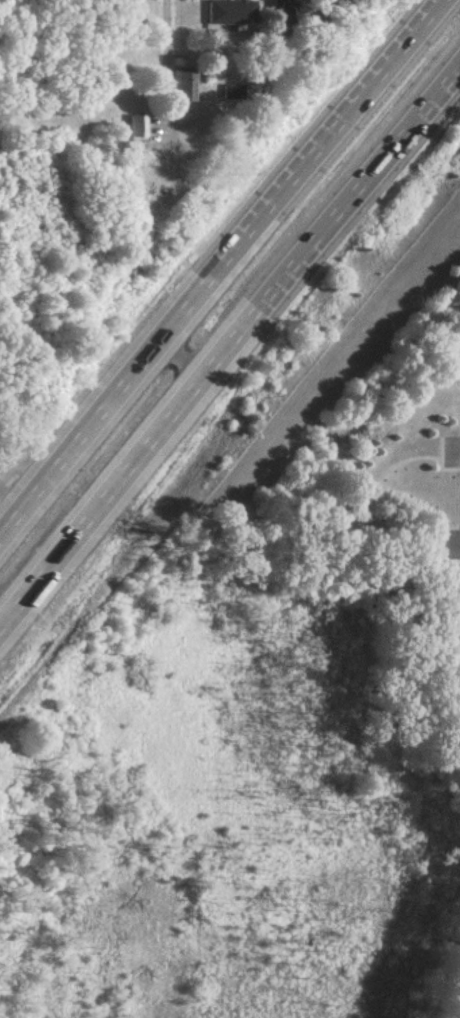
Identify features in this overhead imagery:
building: (230, 11)
road: (168, 38)
building: (182, 83)
building: (135, 125)
road: (224, 271)
road: (229, 348)
parking lot: (450, 447)
road: (437, 460)
road: (363, 506)
parking lot: (450, 540)
road: (437, 554)
park: (310, 612)

